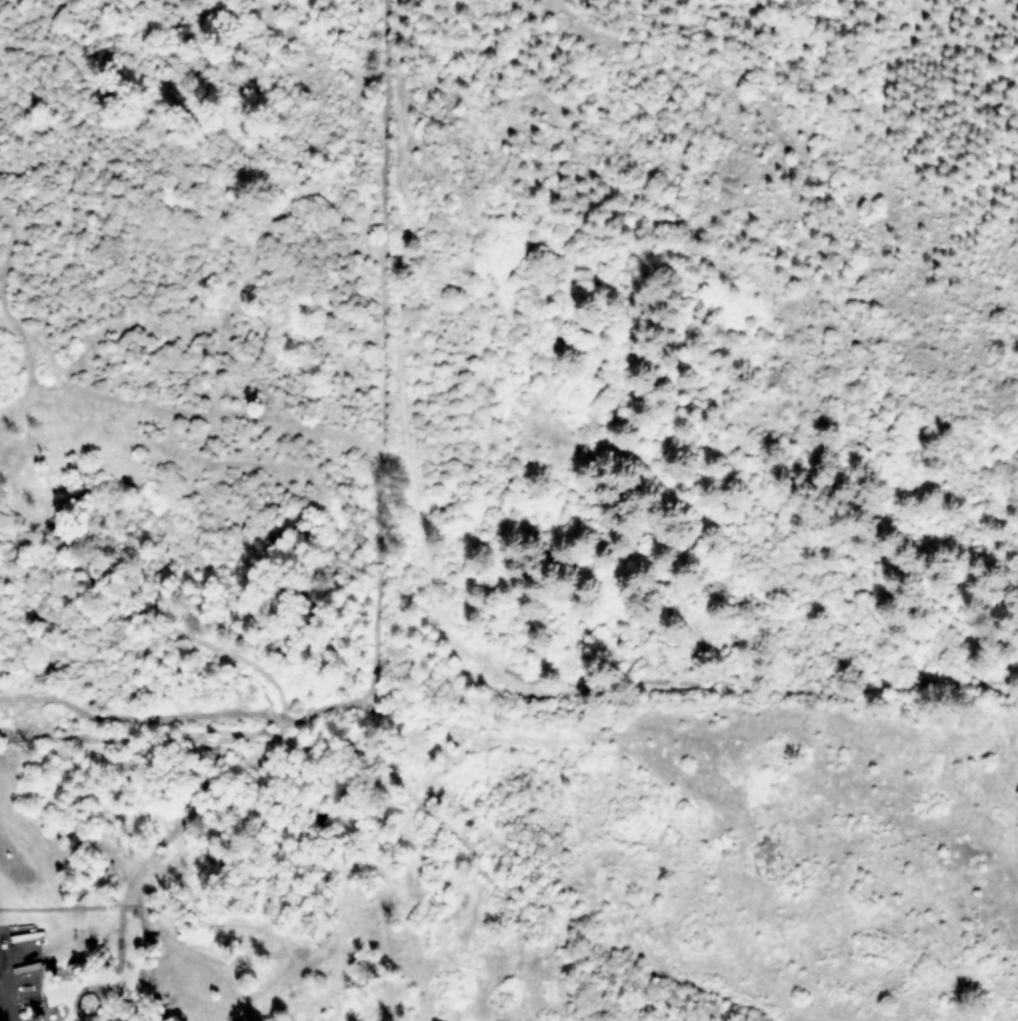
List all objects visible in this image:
road: (10, 1008)

